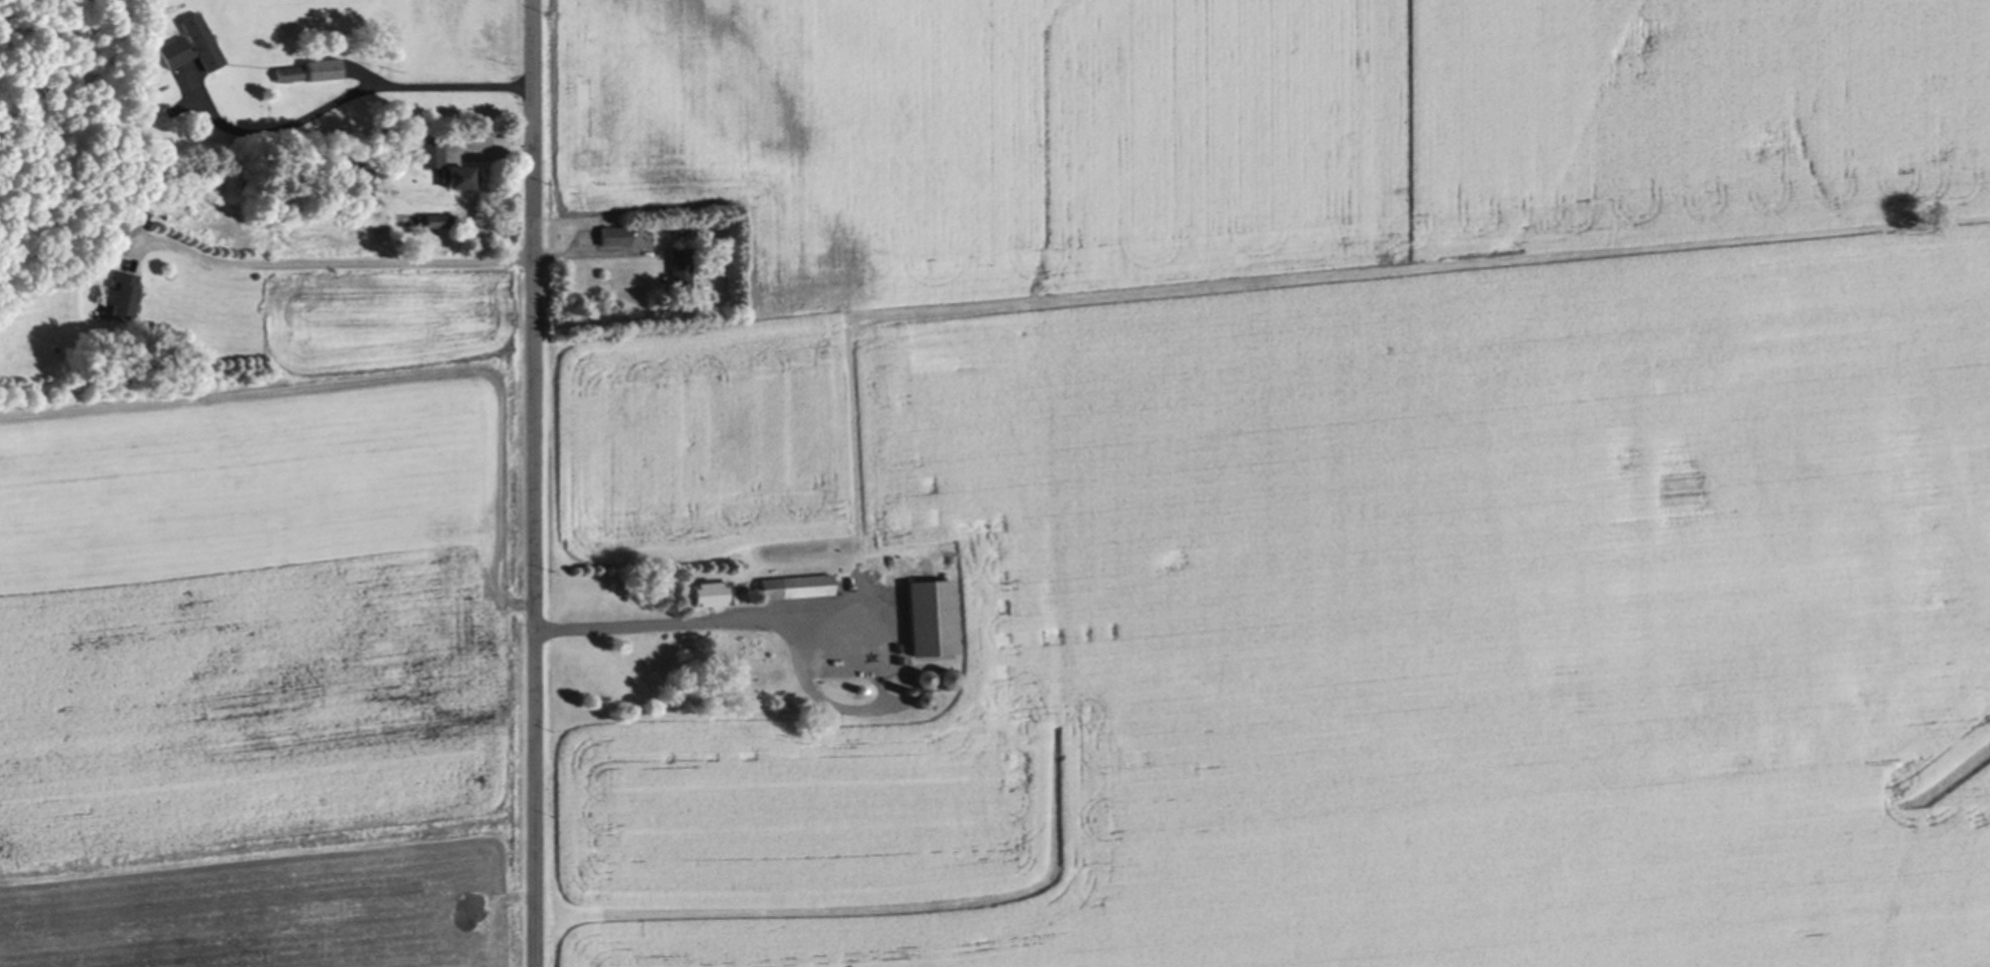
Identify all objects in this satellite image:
building: (204, 38)
building: (325, 68)
building: (290, 72)
road: (354, 87)
building: (434, 152)
building: (462, 175)
building: (437, 218)
building: (683, 230)
building: (615, 233)
road: (390, 263)
building: (681, 265)
building: (123, 293)
crop: (1300, 479)
road: (532, 483)
building: (797, 584)
building: (711, 593)
building: (932, 614)
road: (669, 621)
building: (846, 663)
building: (948, 676)
building: (923, 677)
building: (861, 687)
building: (907, 688)
building: (922, 698)

